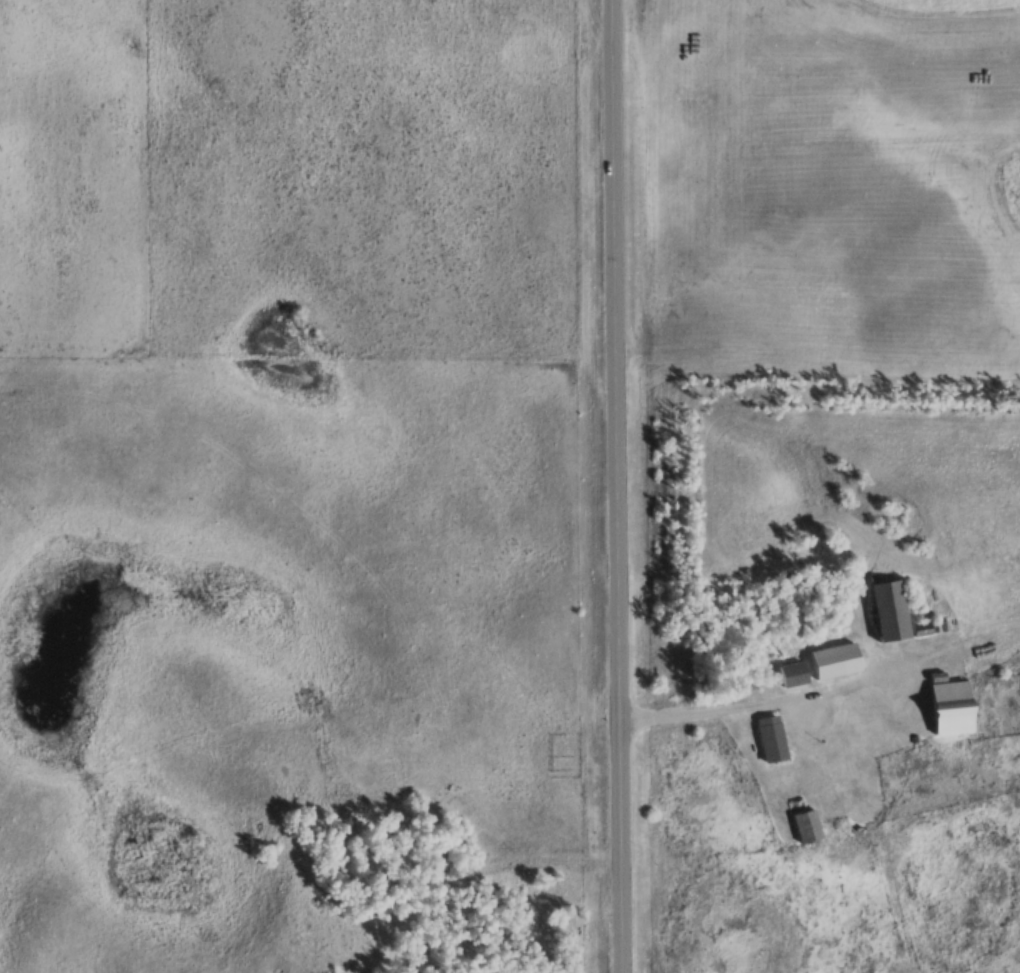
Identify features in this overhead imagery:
road: (624, 486)
building: (891, 612)
building: (837, 662)
building: (794, 676)
building: (952, 708)
road: (731, 710)
building: (772, 739)
building: (805, 823)

